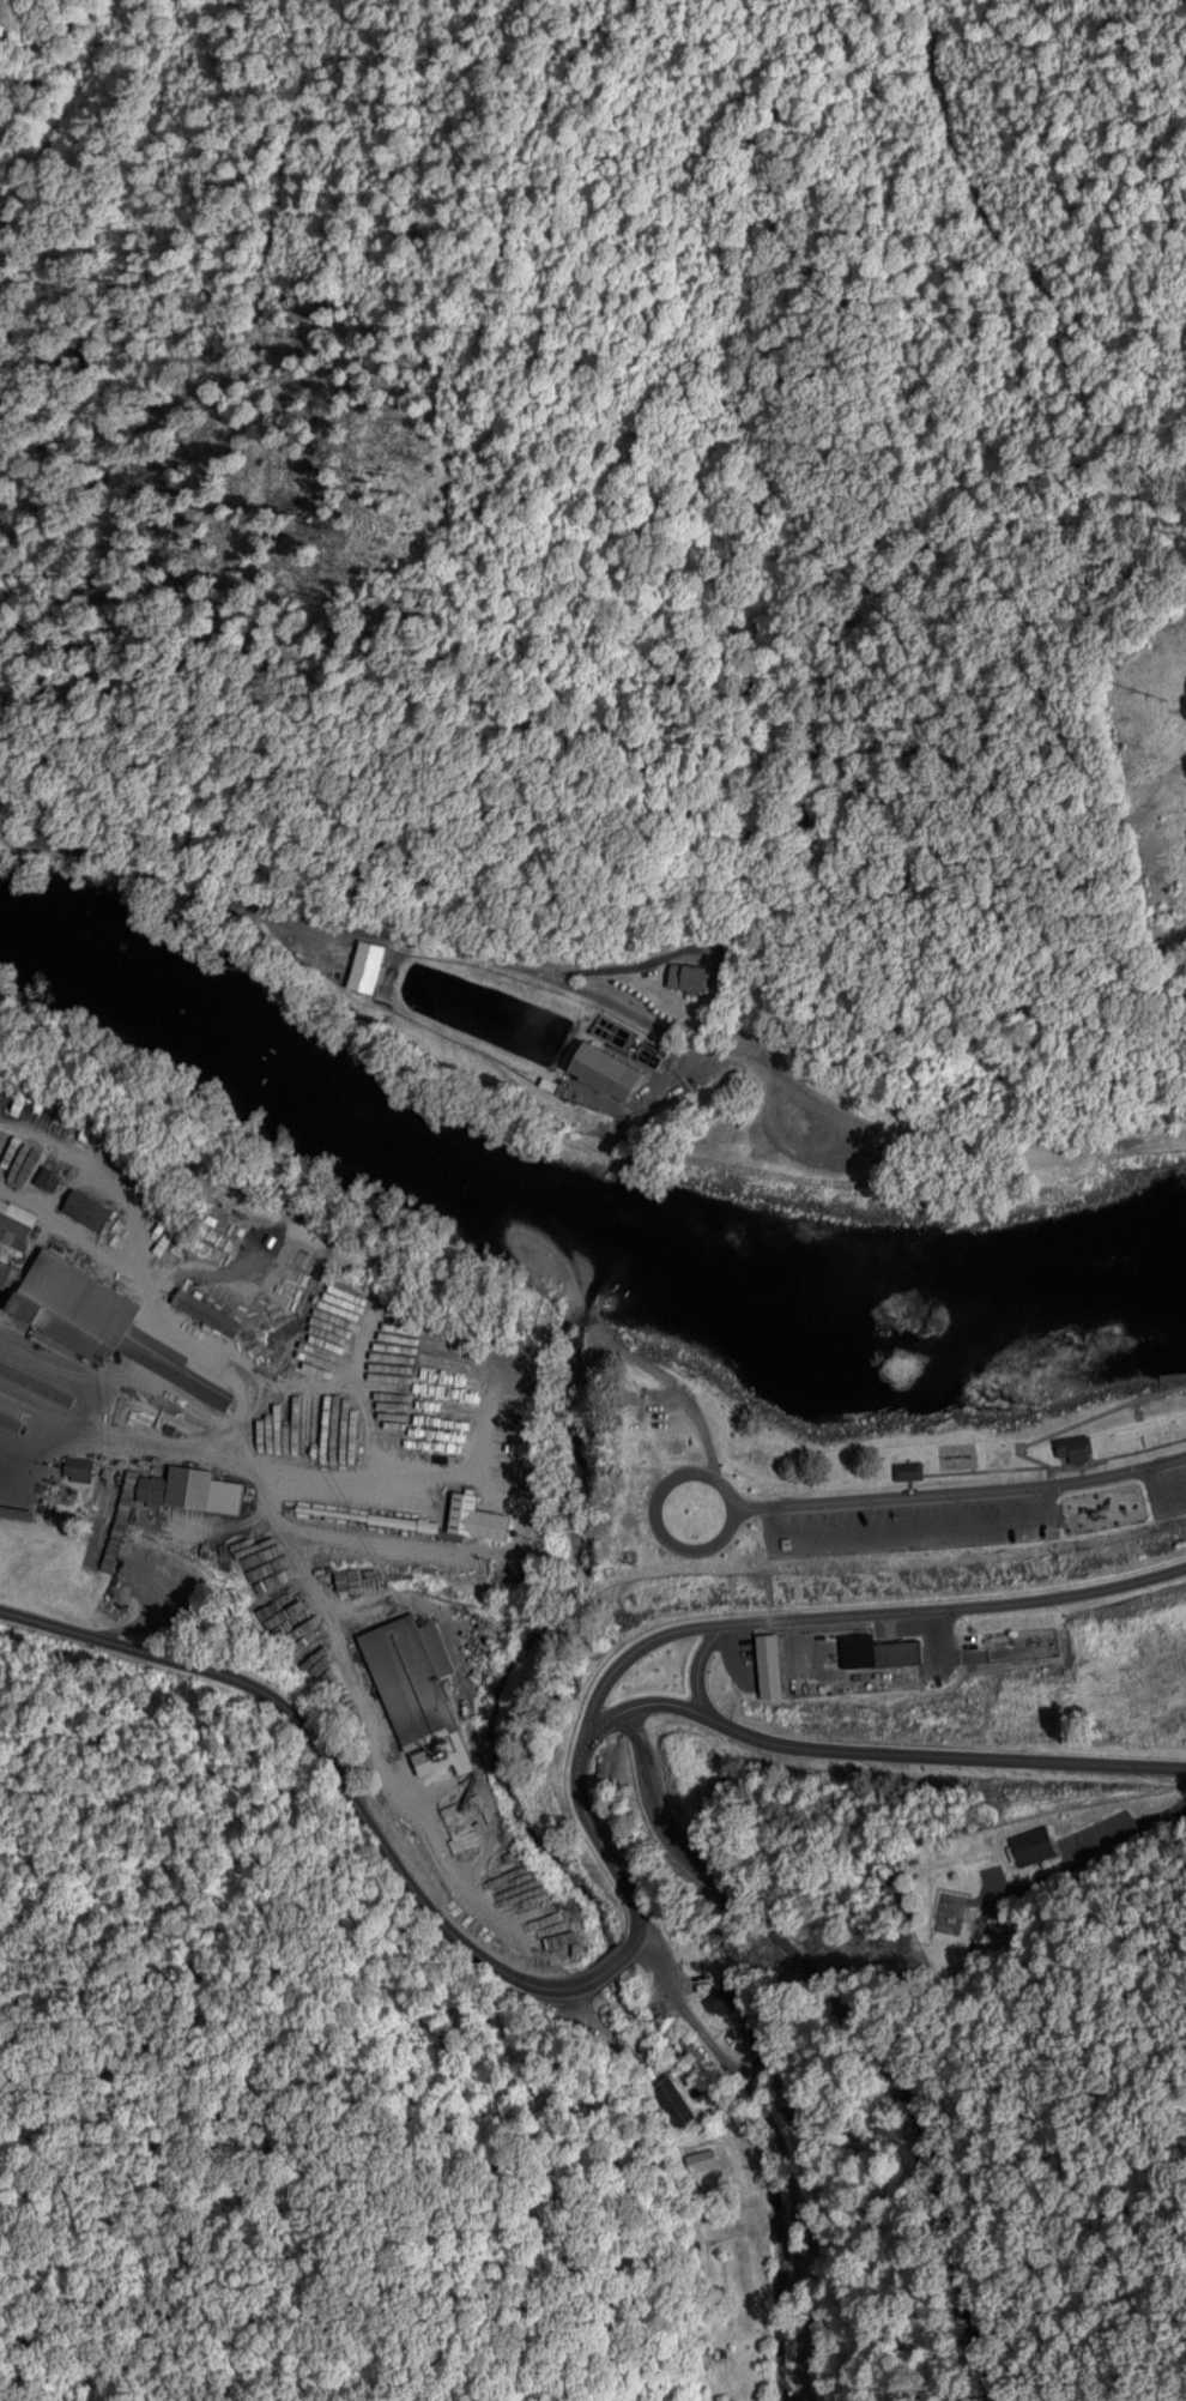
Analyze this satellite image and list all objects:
road: (801, 591)
road: (468, 948)
building: (364, 964)
building: (684, 975)
building: (595, 1069)
parking lot: (827, 1138)
road: (1052, 1147)
river: (567, 1208)
building: (163, 1255)
building: (201, 1309)
building: (127, 1337)
road: (1174, 1374)
road: (683, 1393)
road: (1073, 1420)
building: (1072, 1447)
building: (904, 1468)
parking lot: (1167, 1488)
road: (960, 1489)
road: (1160, 1489)
building: (173, 1491)
road: (656, 1510)
building: (470, 1516)
road: (913, 1521)
building: (417, 1522)
parking lot: (910, 1522)
road: (754, 1617)
building: (875, 1649)
road: (694, 1663)
building: (767, 1664)
building: (411, 1684)
road: (307, 1731)
road: (876, 1747)
building: (1028, 1844)
road: (847, 2033)
road: (738, 2083)

